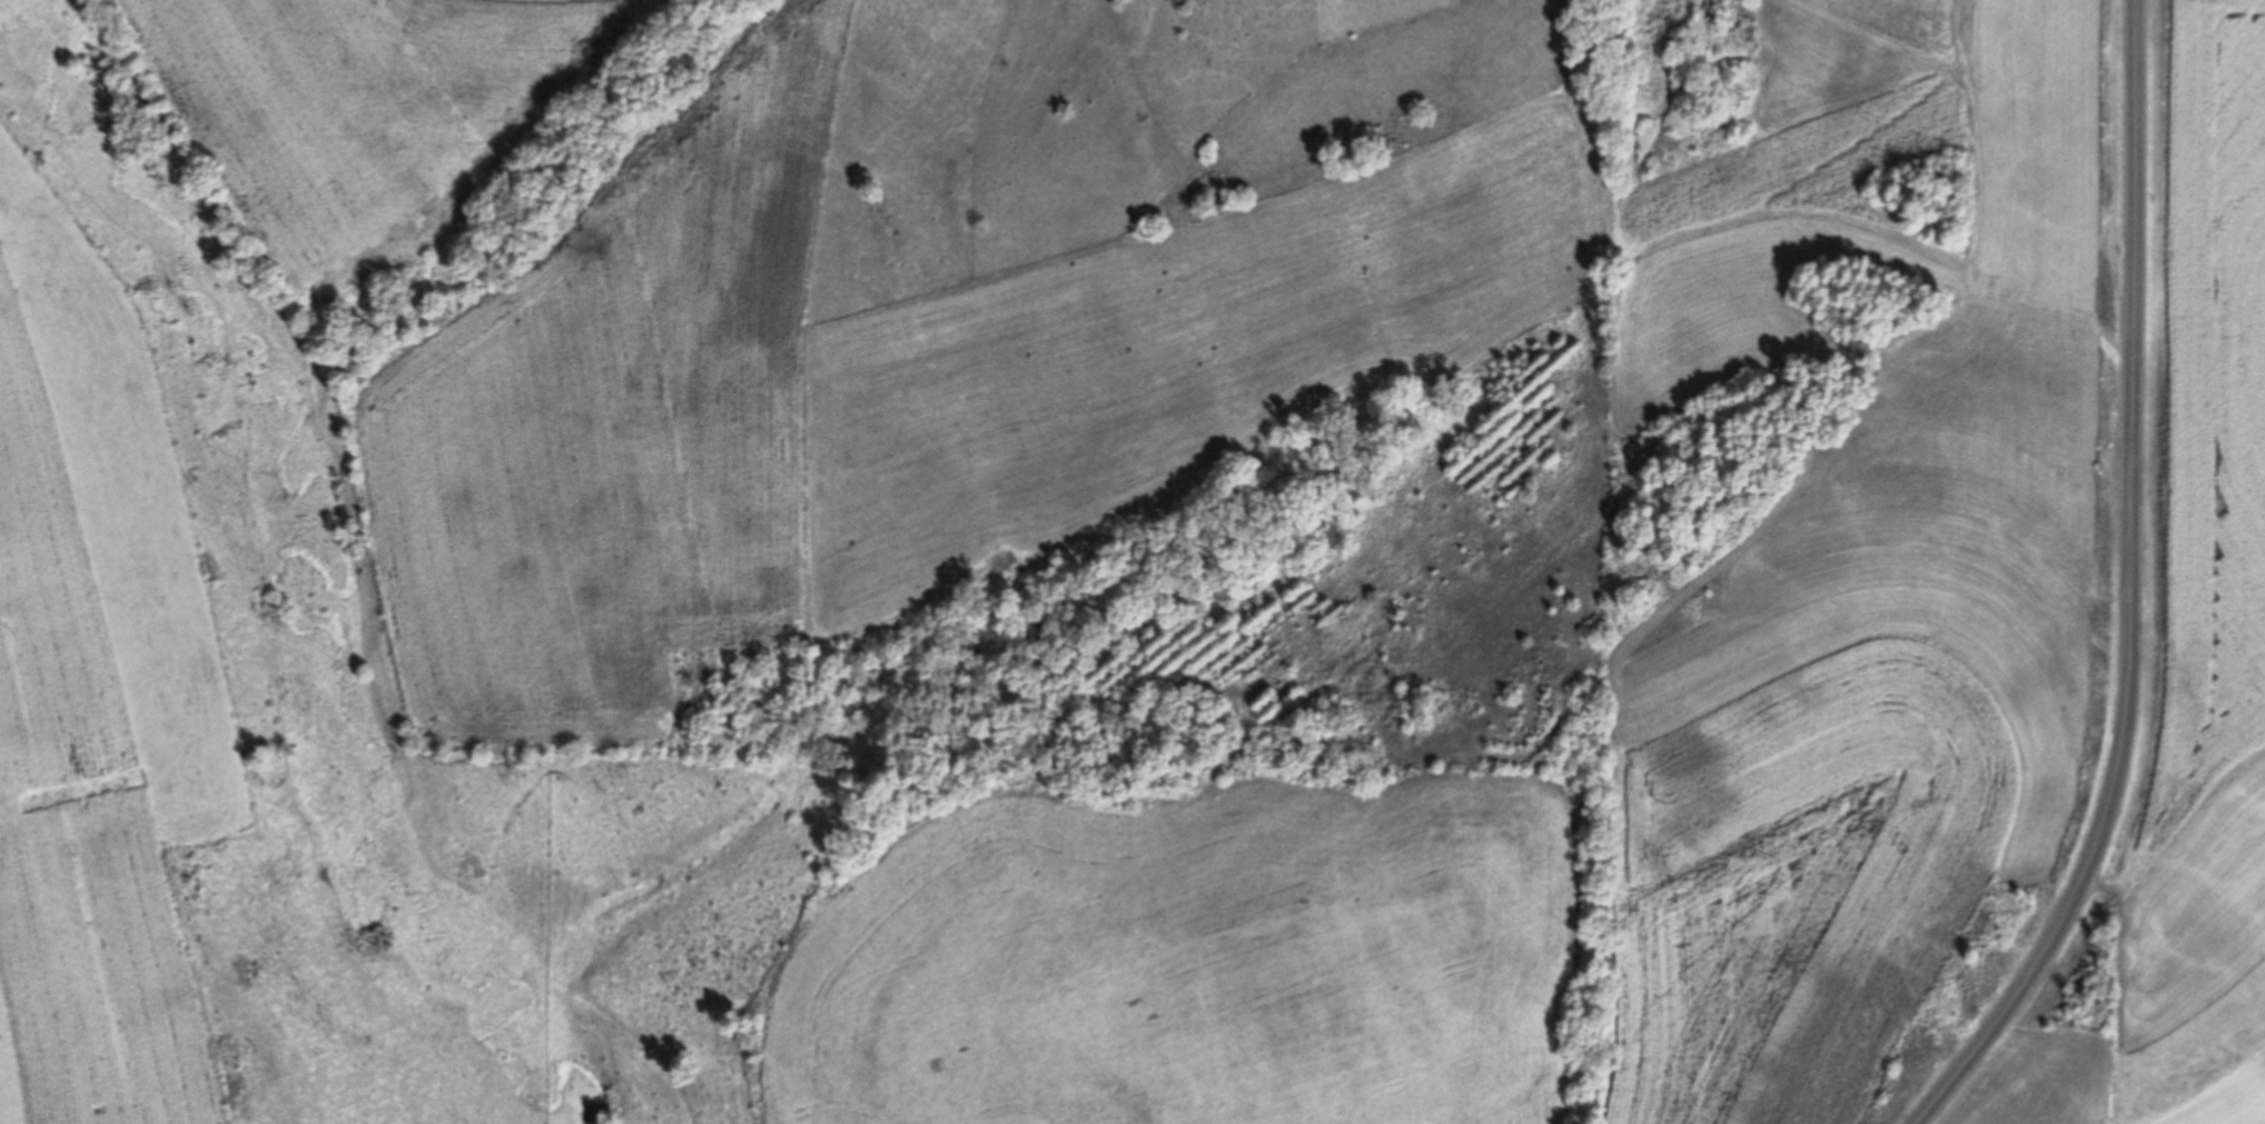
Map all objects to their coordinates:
road: (2136, 590)

